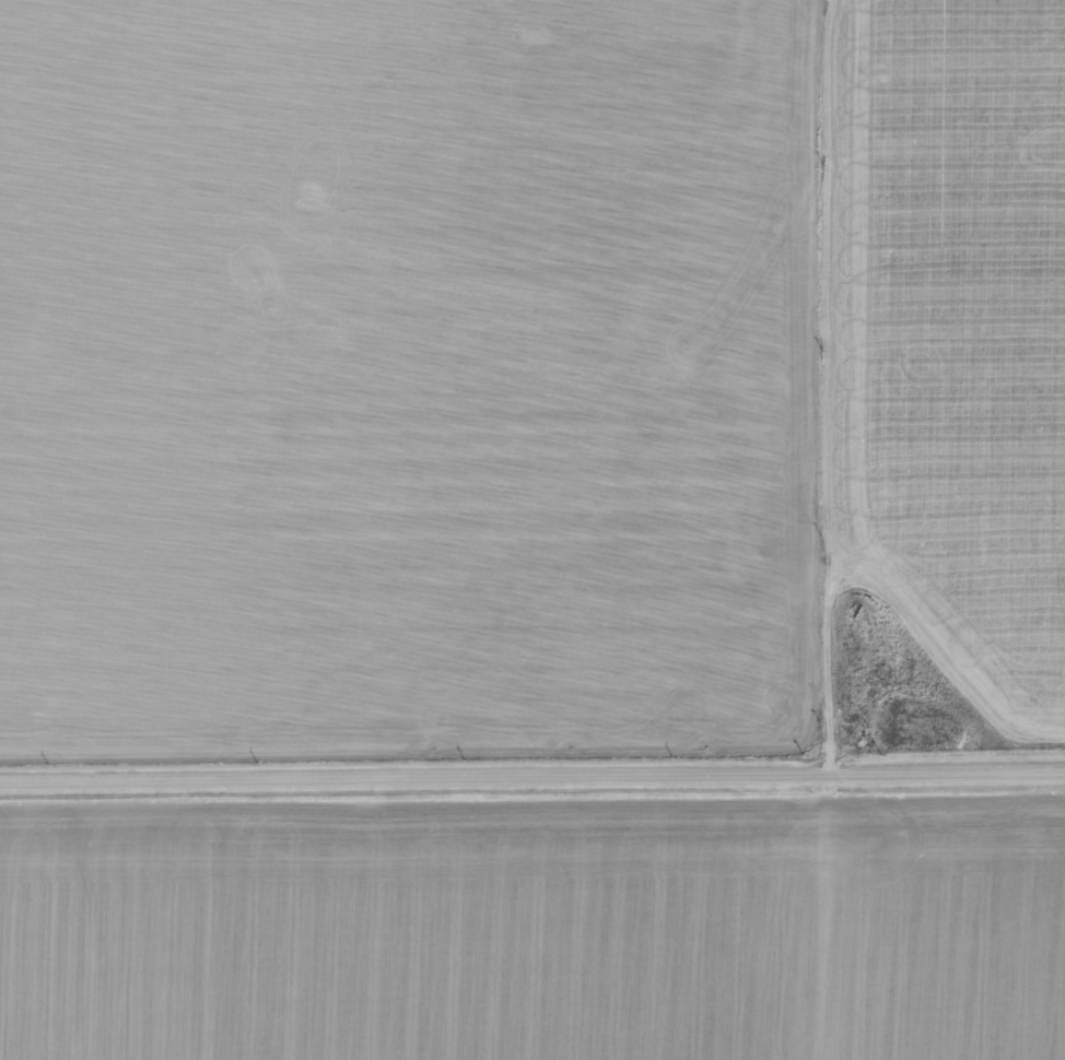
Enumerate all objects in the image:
road: (532, 779)

